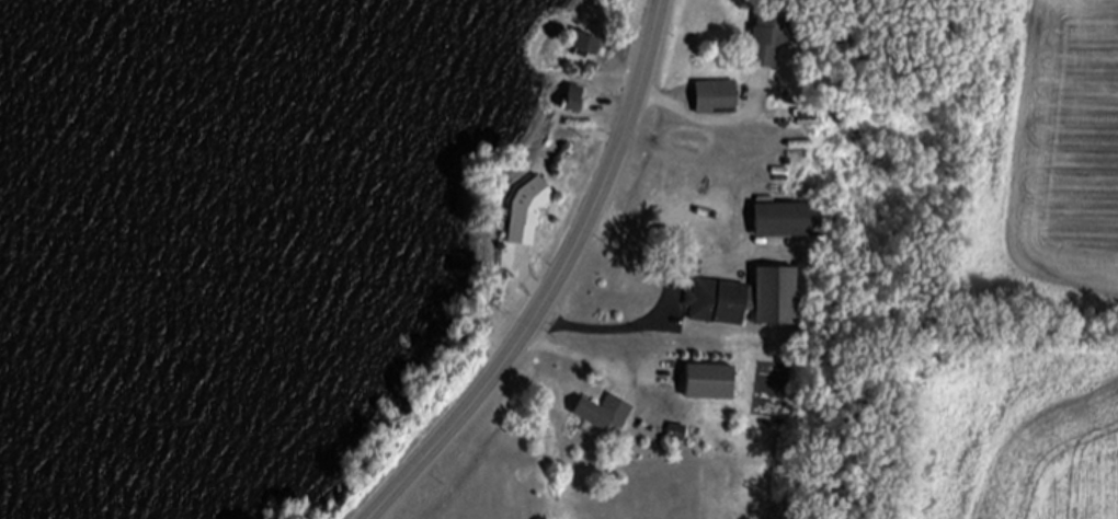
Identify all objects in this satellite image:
building: (769, 43)
building: (851, 44)
building: (589, 47)
building: (717, 102)
building: (574, 103)
road: (711, 120)
road: (676, 212)
building: (528, 216)
building: (786, 223)
road: (561, 284)
building: (748, 302)
crop: (1027, 311)
road: (654, 320)
building: (710, 385)
building: (604, 415)
building: (677, 436)

